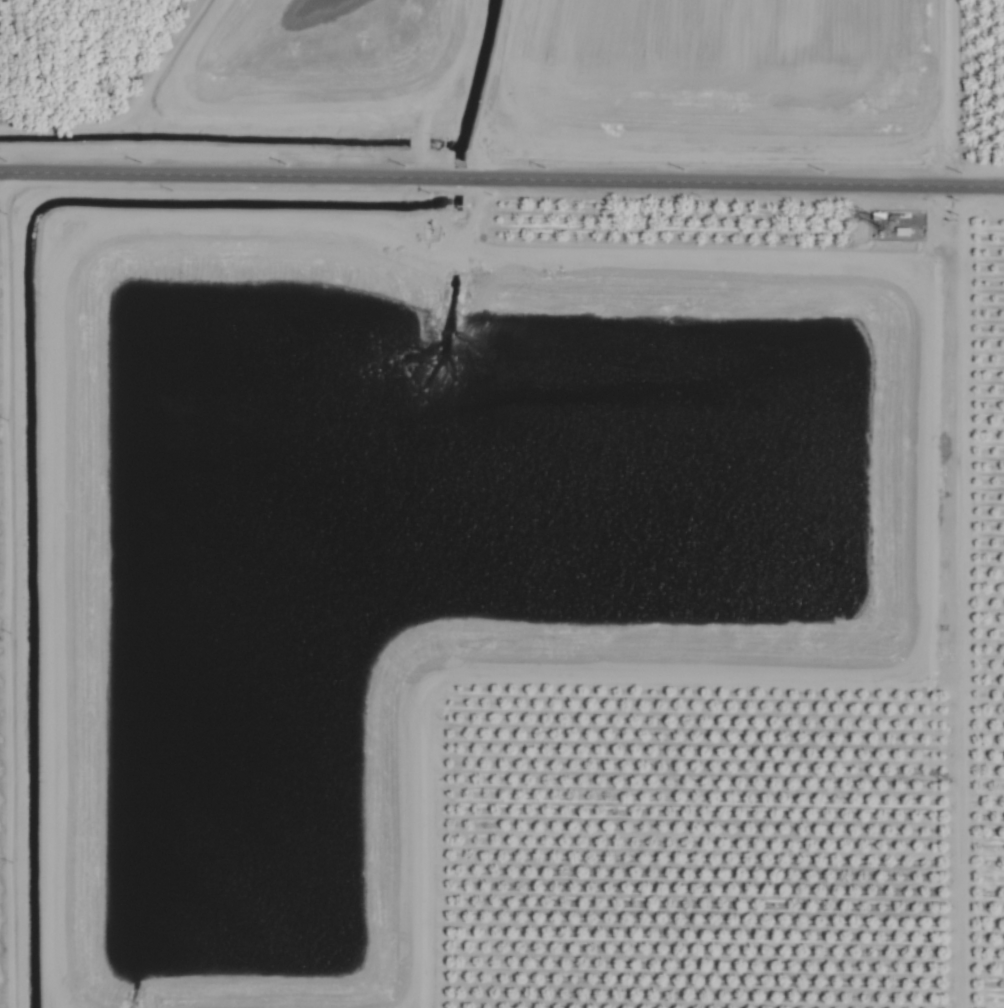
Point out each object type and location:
road: (502, 177)
crop: (502, 504)
road: (11, 590)

